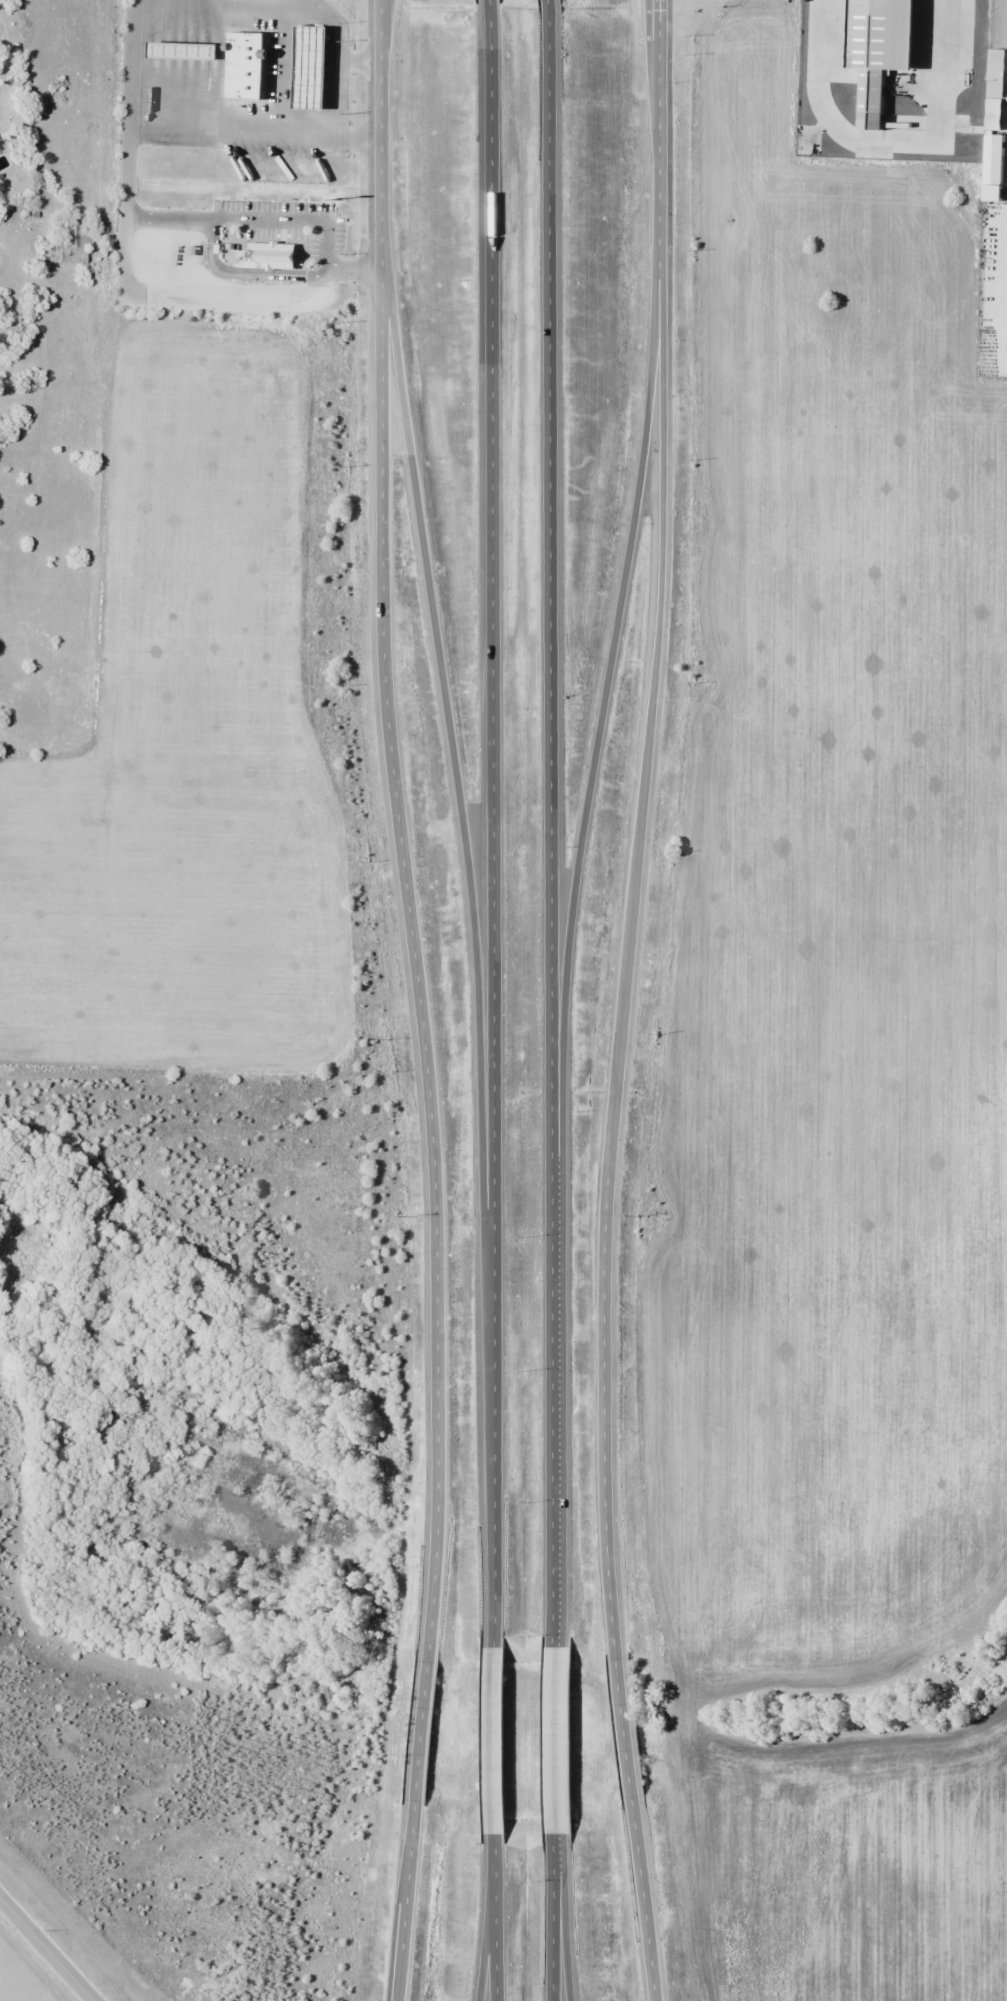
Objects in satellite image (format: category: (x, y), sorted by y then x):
road: (490, 3)
road: (549, 3)
building: (886, 52)
building: (998, 73)
building: (73, 241)
building: (275, 256)
road: (657, 638)
road: (385, 697)
road: (598, 733)
road: (450, 741)
road: (550, 826)
road: (492, 831)
road: (604, 1466)
road: (435, 1526)
road: (625, 1727)
road: (420, 1730)
road: (494, 1739)
road: (553, 1741)
road: (643, 1898)
road: (406, 1900)
road: (495, 1911)
road: (551, 1918)
road: (487, 1937)
road: (560, 1946)
road: (46, 1949)

